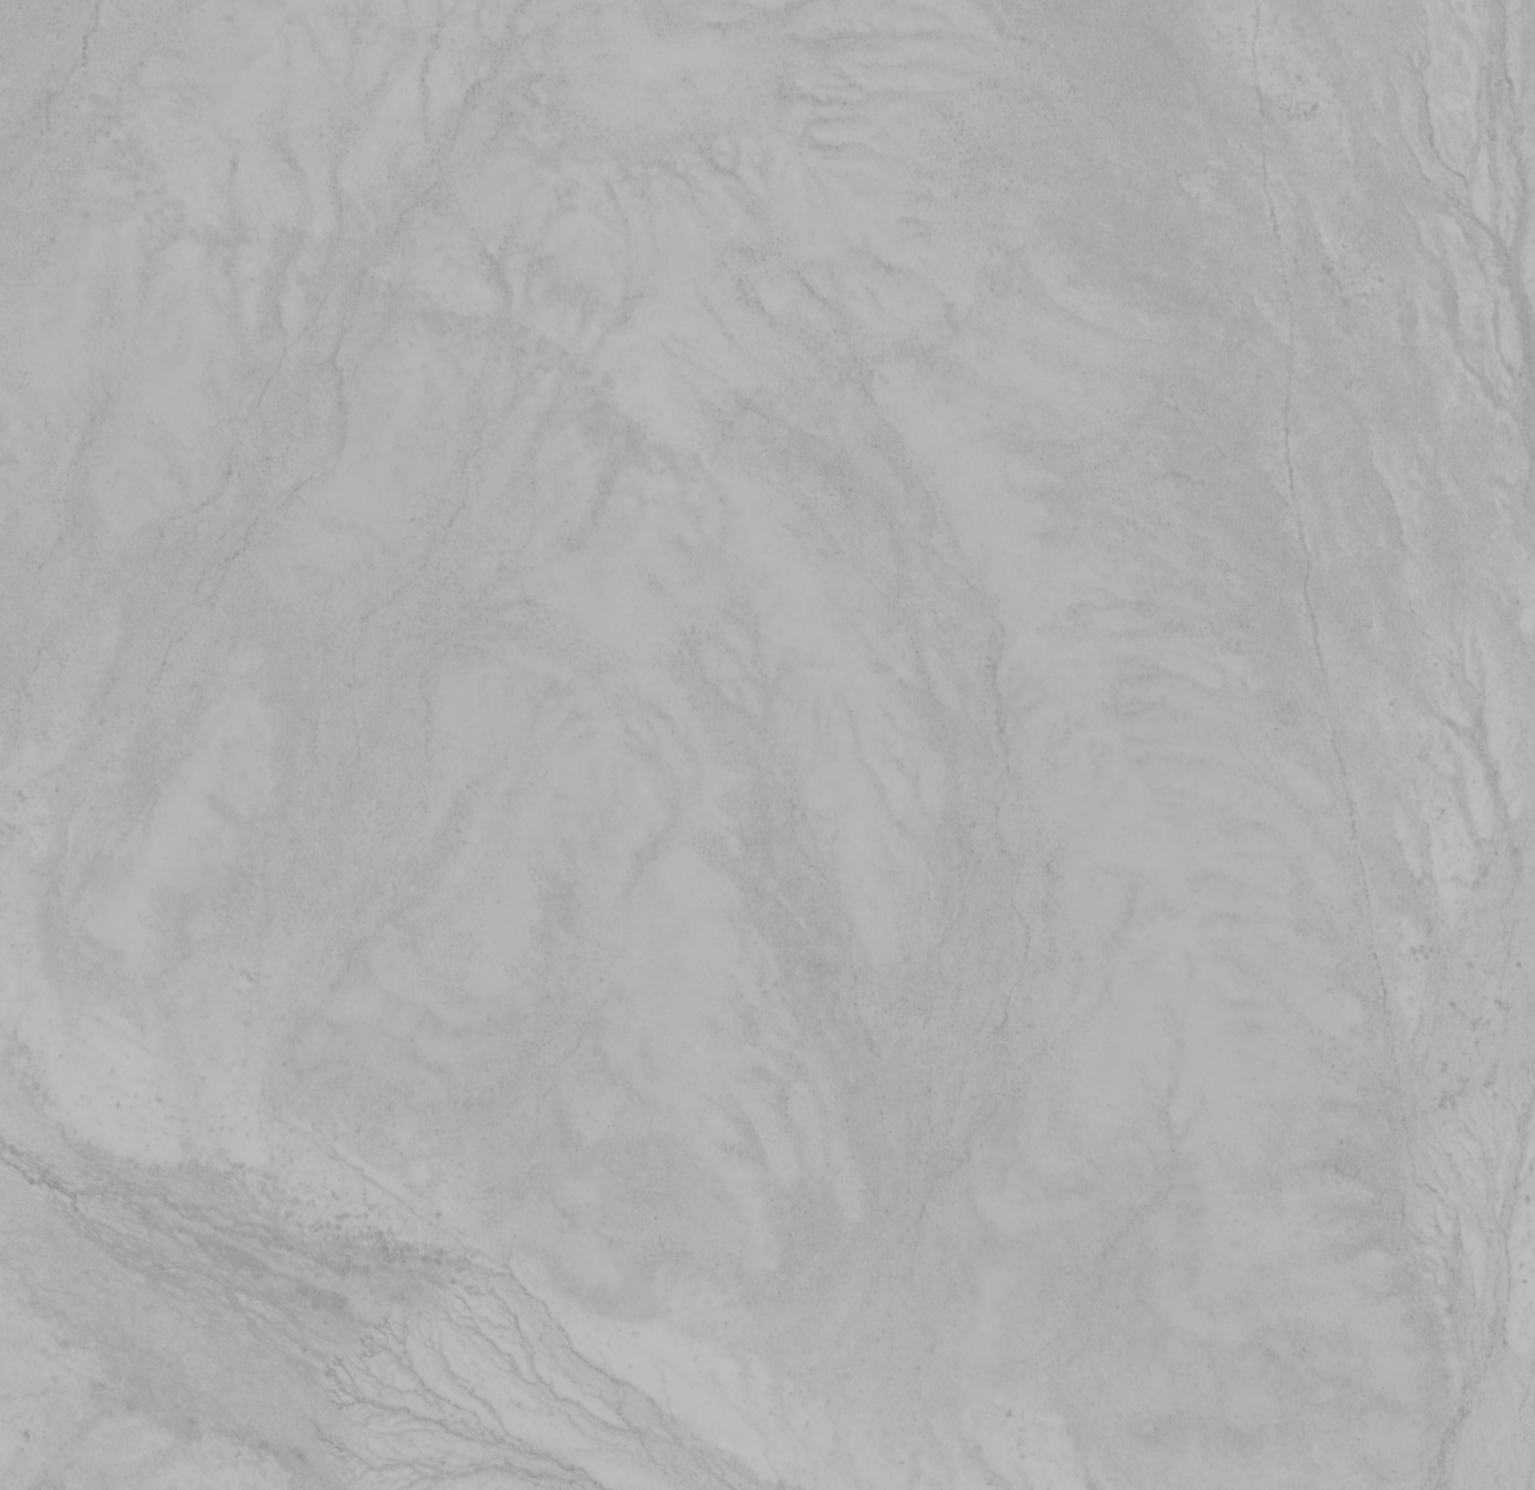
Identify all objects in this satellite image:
road: (594, 994)

